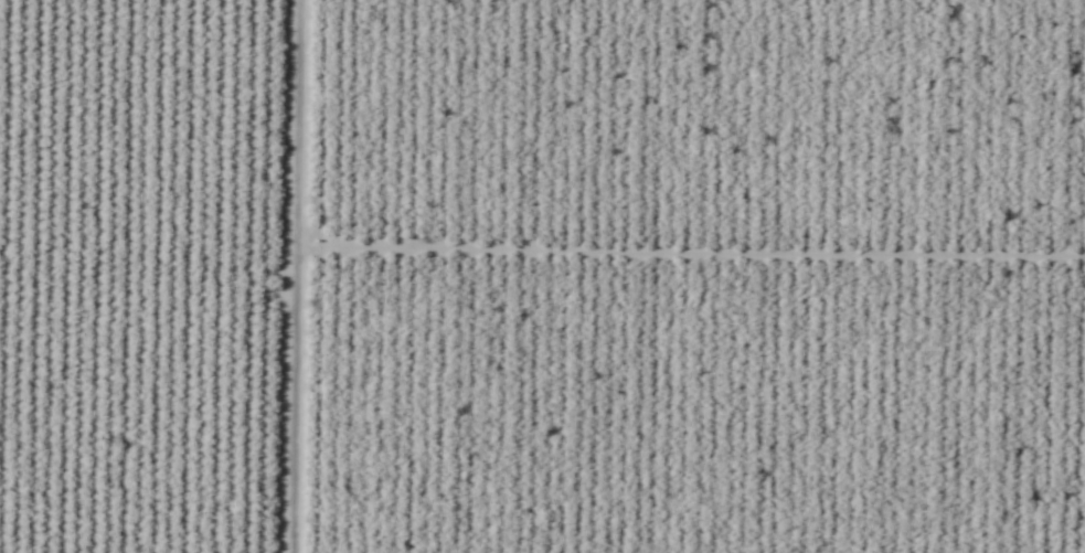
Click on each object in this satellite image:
road: (308, 276)

